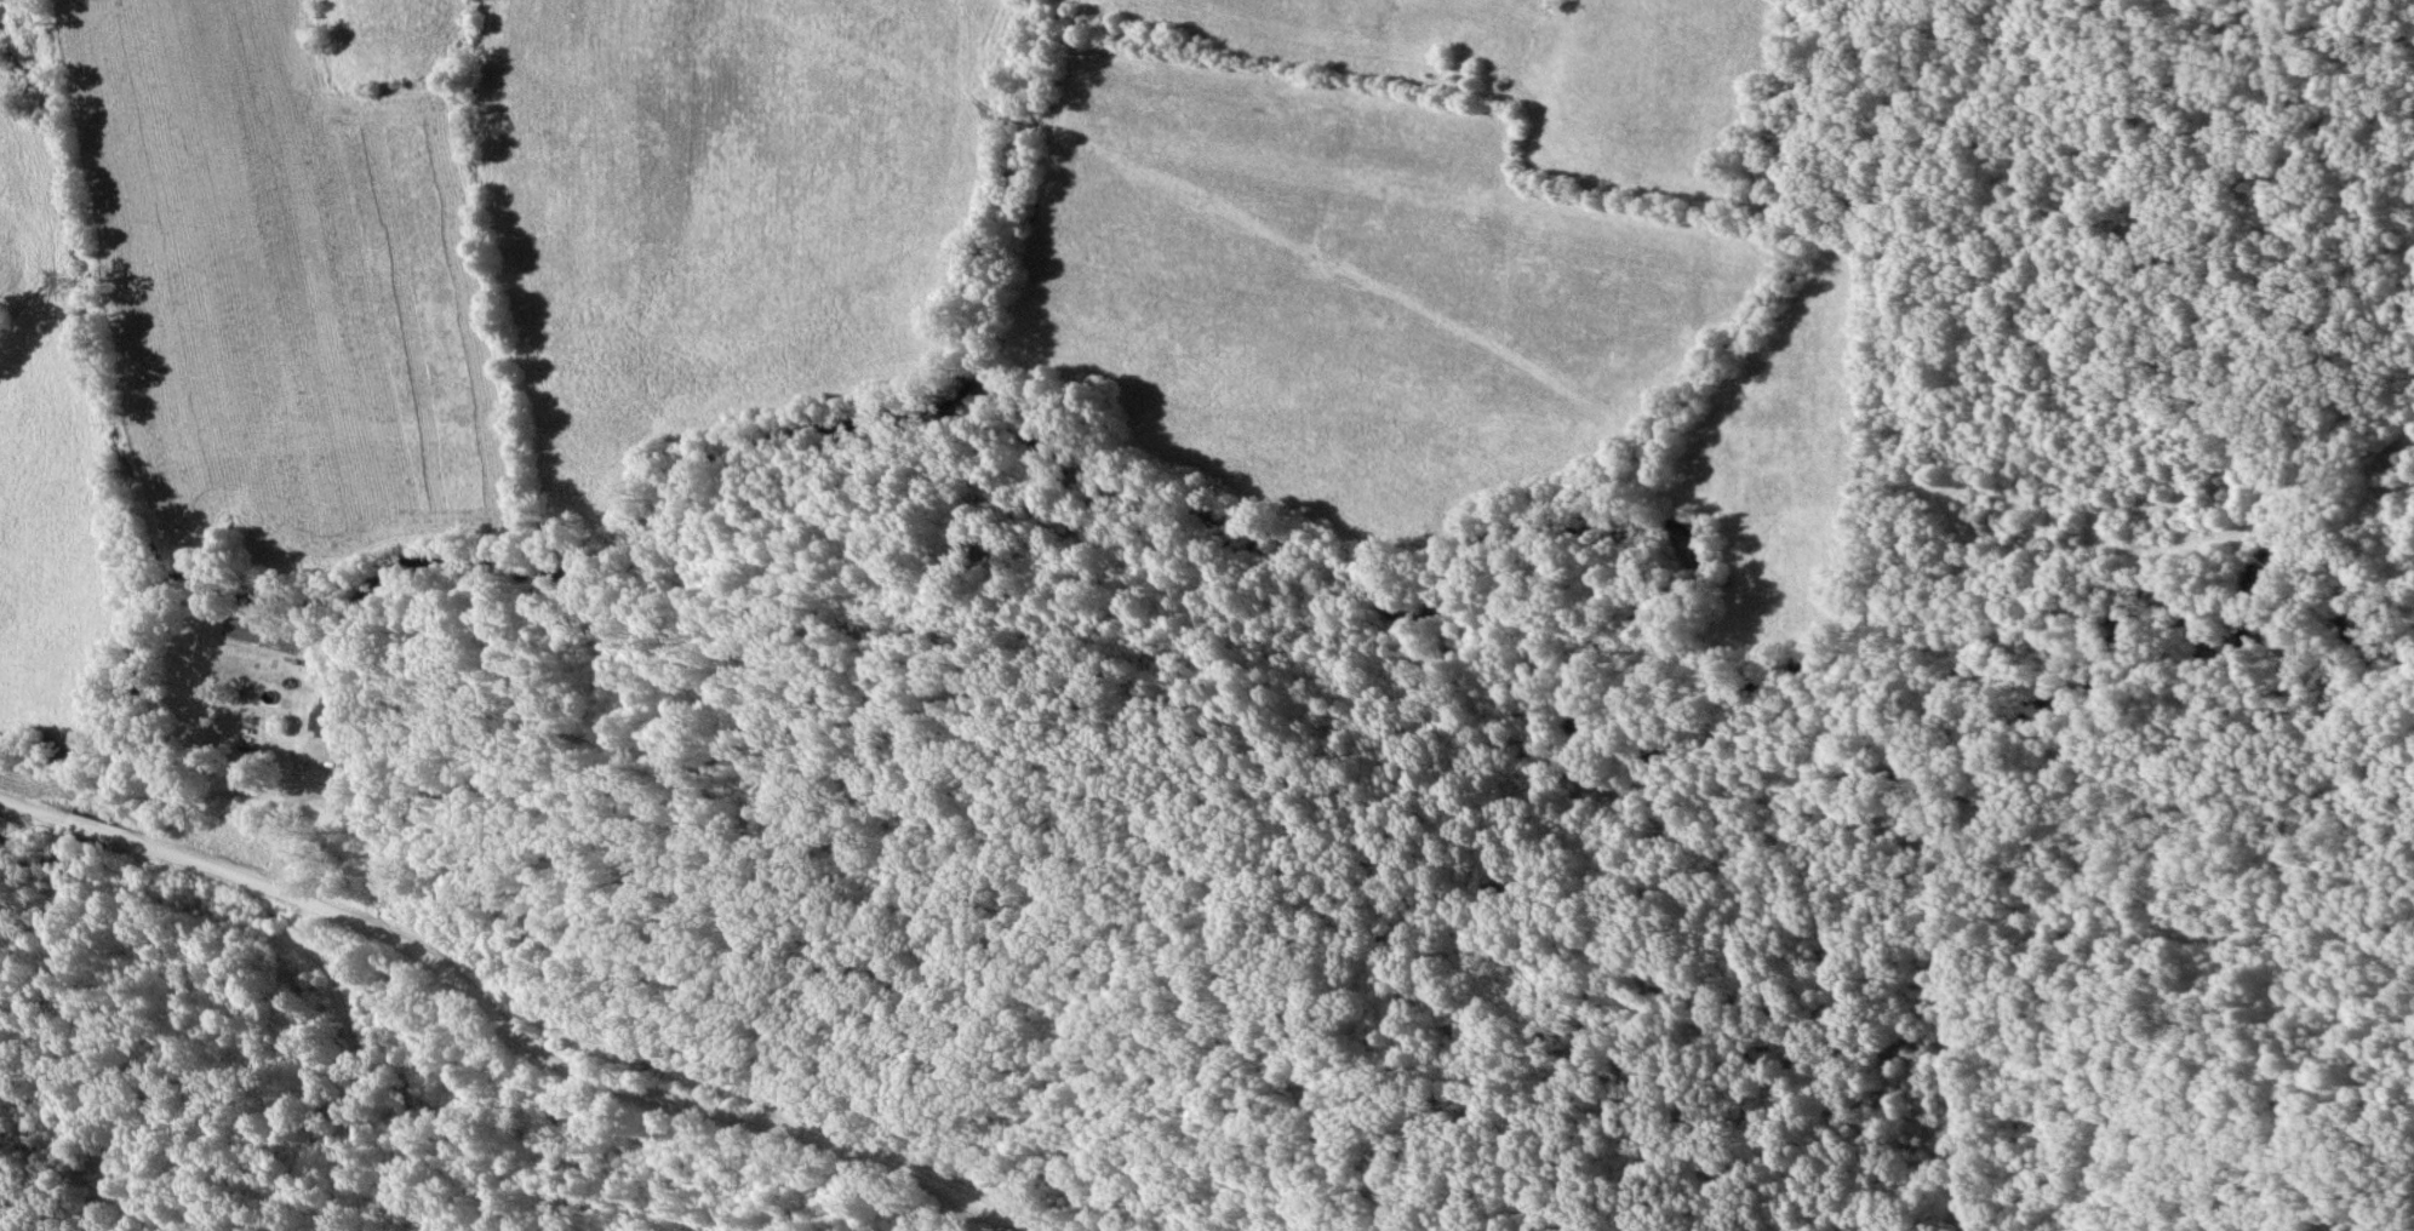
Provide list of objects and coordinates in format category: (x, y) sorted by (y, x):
road: (301, 758)
road: (528, 1038)

